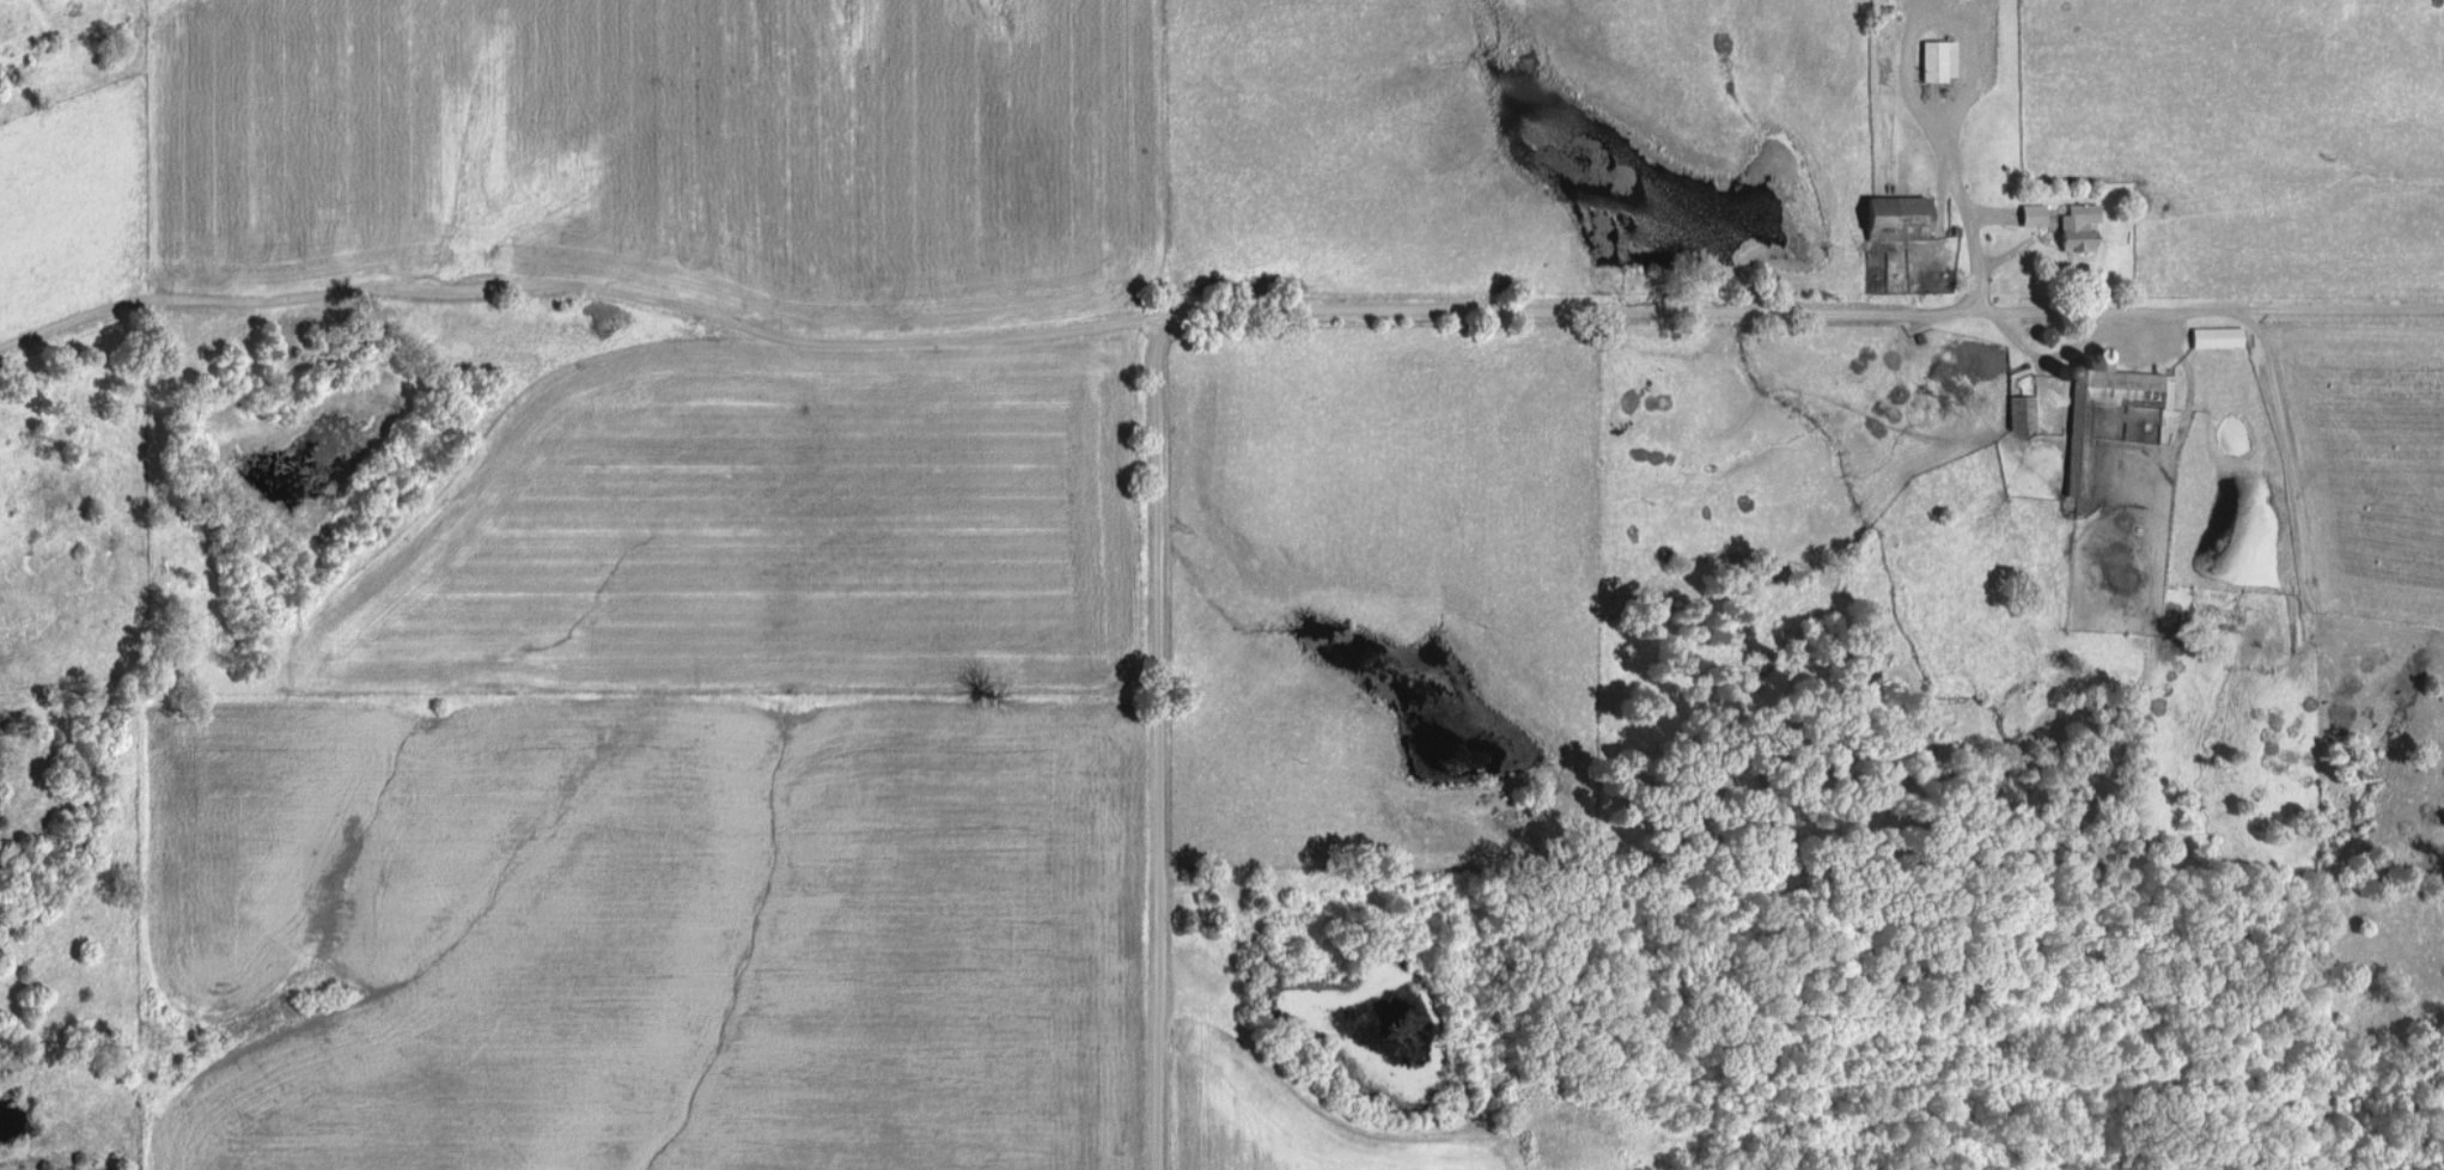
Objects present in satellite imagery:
building: (1938, 59)
building: (2032, 214)
building: (1896, 217)
building: (2078, 226)
road: (1281, 306)
building: (2216, 336)
building: (2022, 412)

